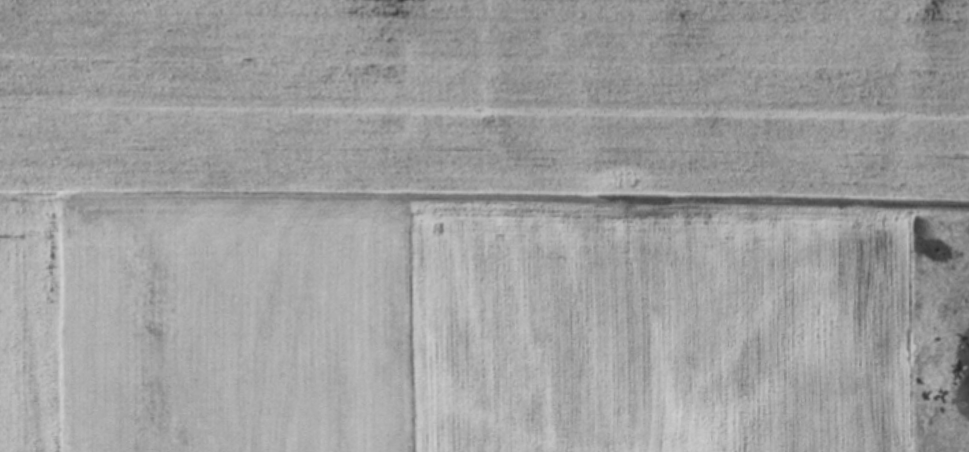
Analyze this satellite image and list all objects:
crop: (490, 100)

